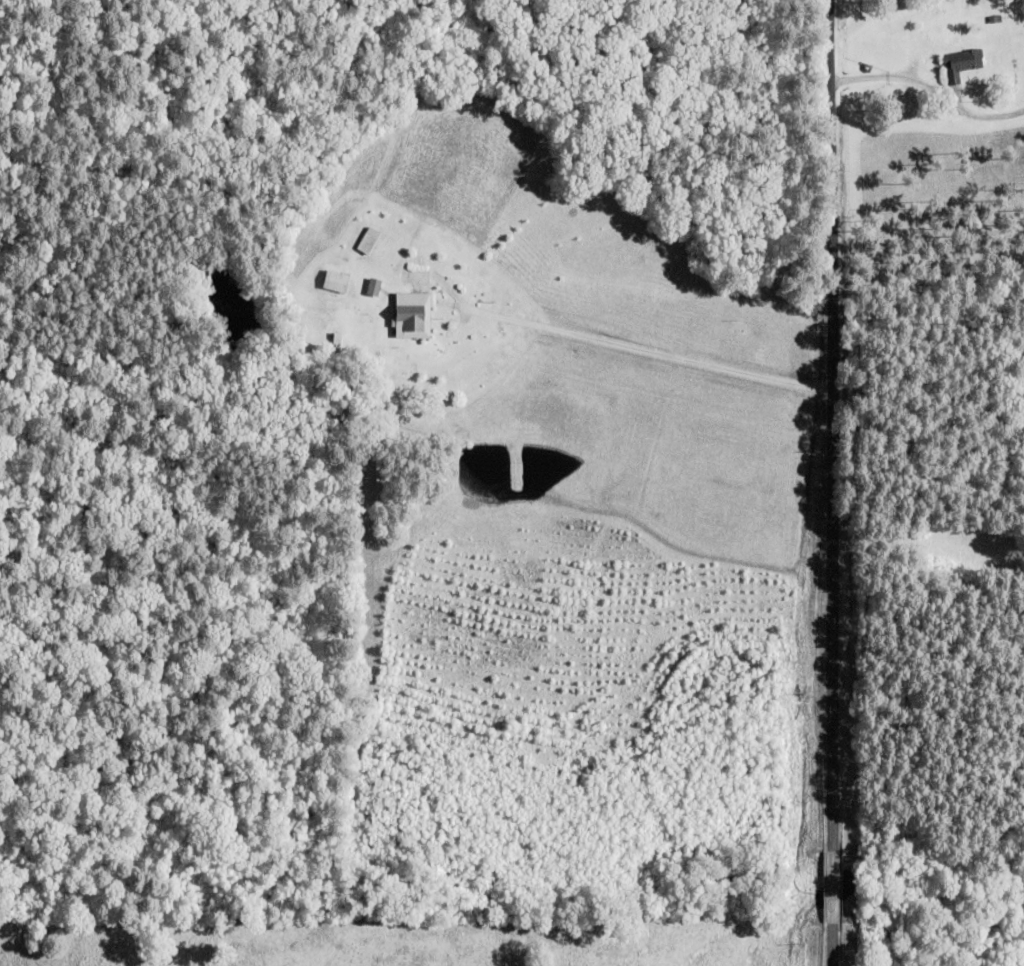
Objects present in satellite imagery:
building: (962, 63)
building: (365, 243)
building: (333, 281)
building: (371, 286)
building: (406, 311)
road: (648, 350)
road: (835, 482)

